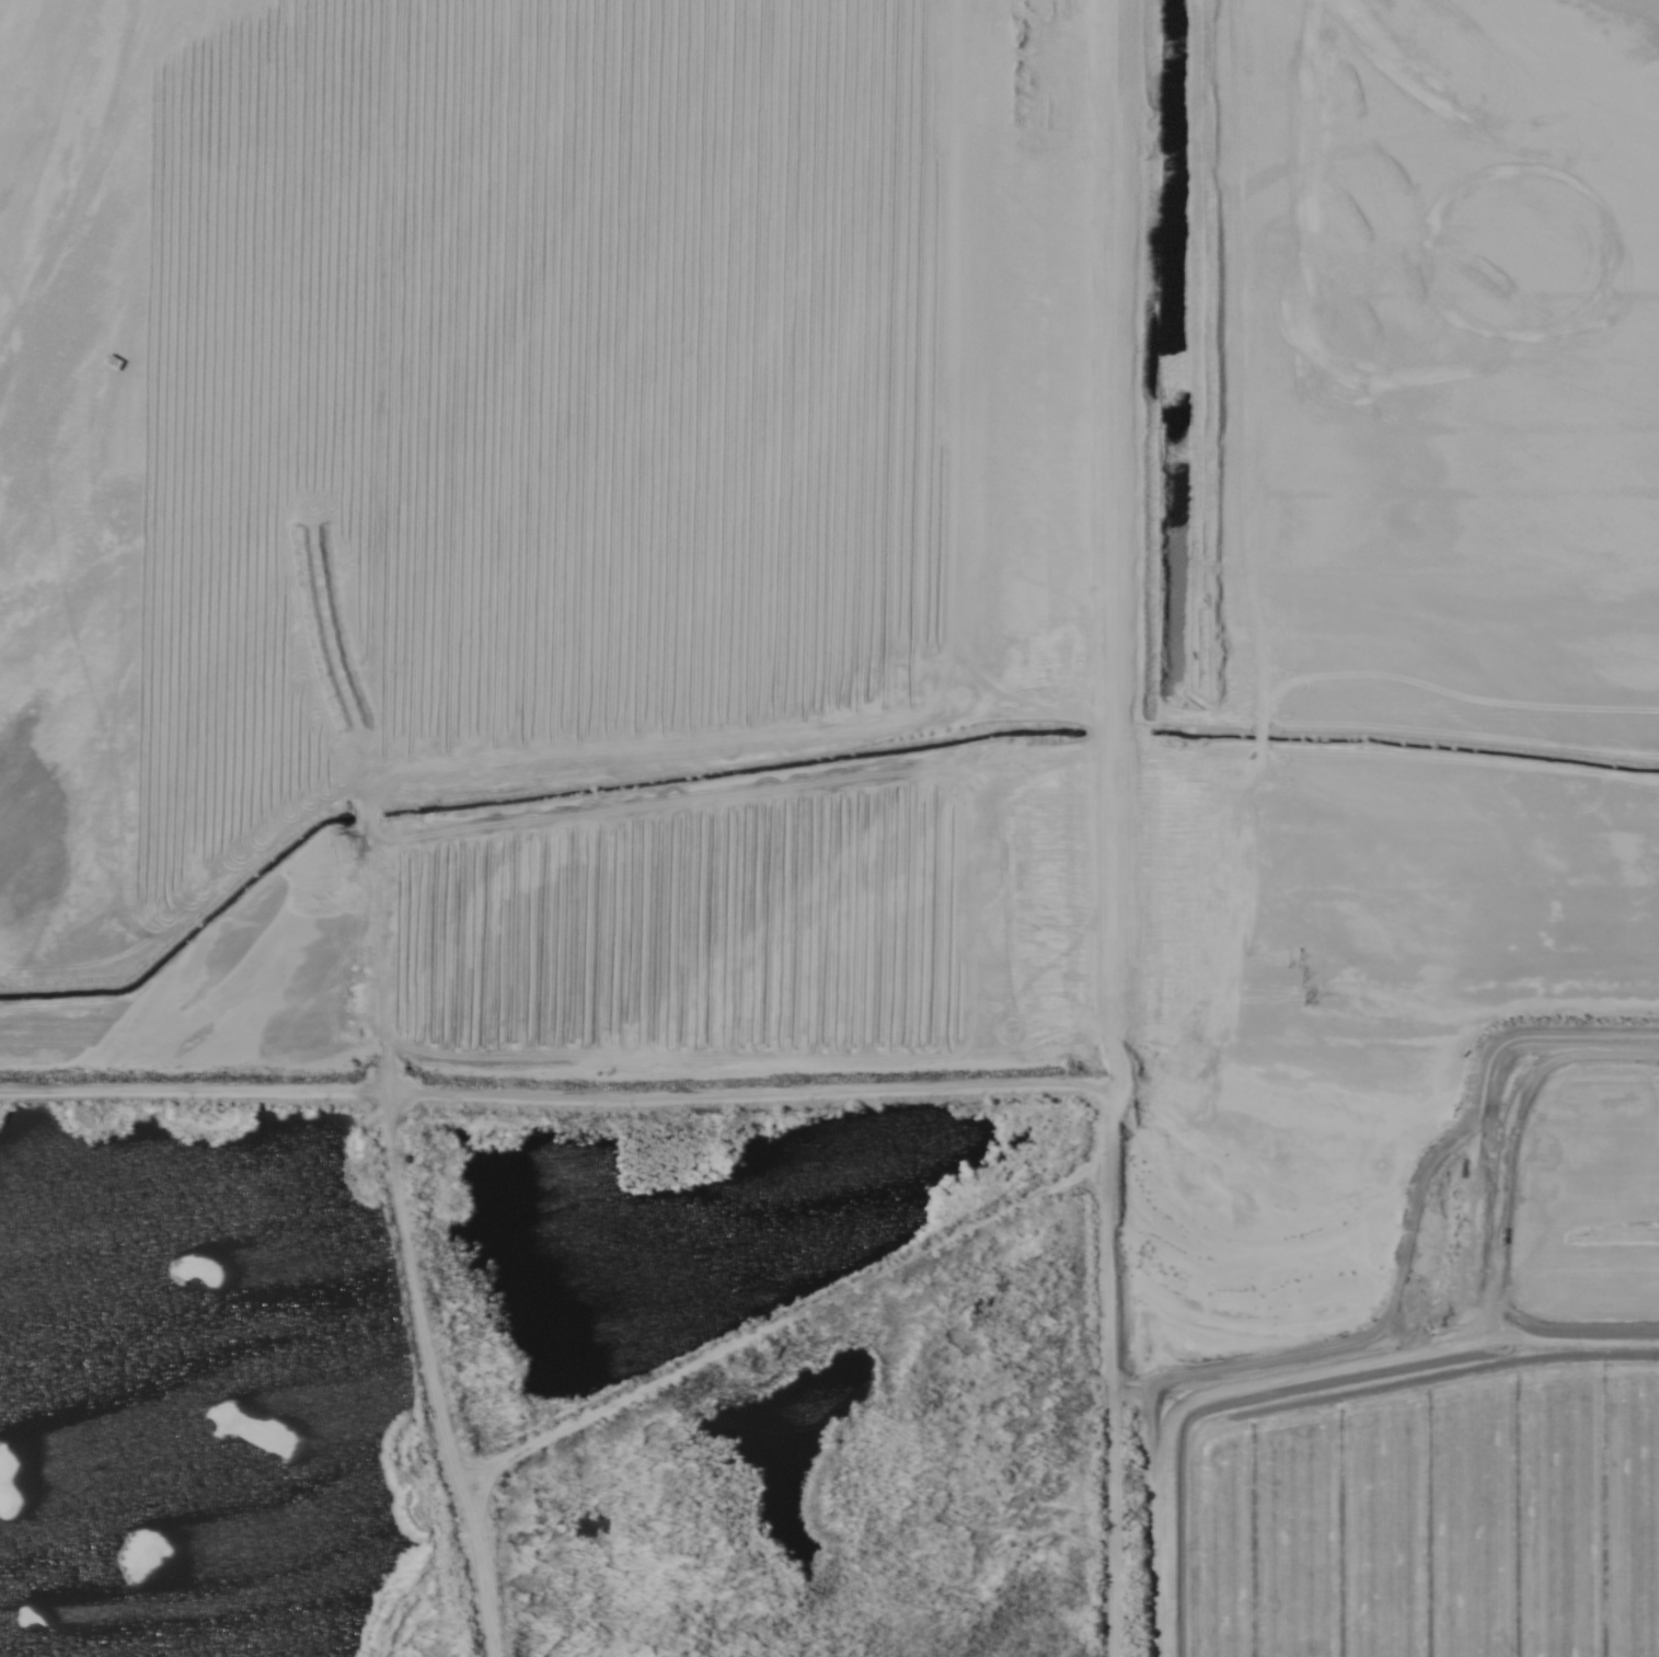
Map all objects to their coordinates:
road: (1145, 1519)

